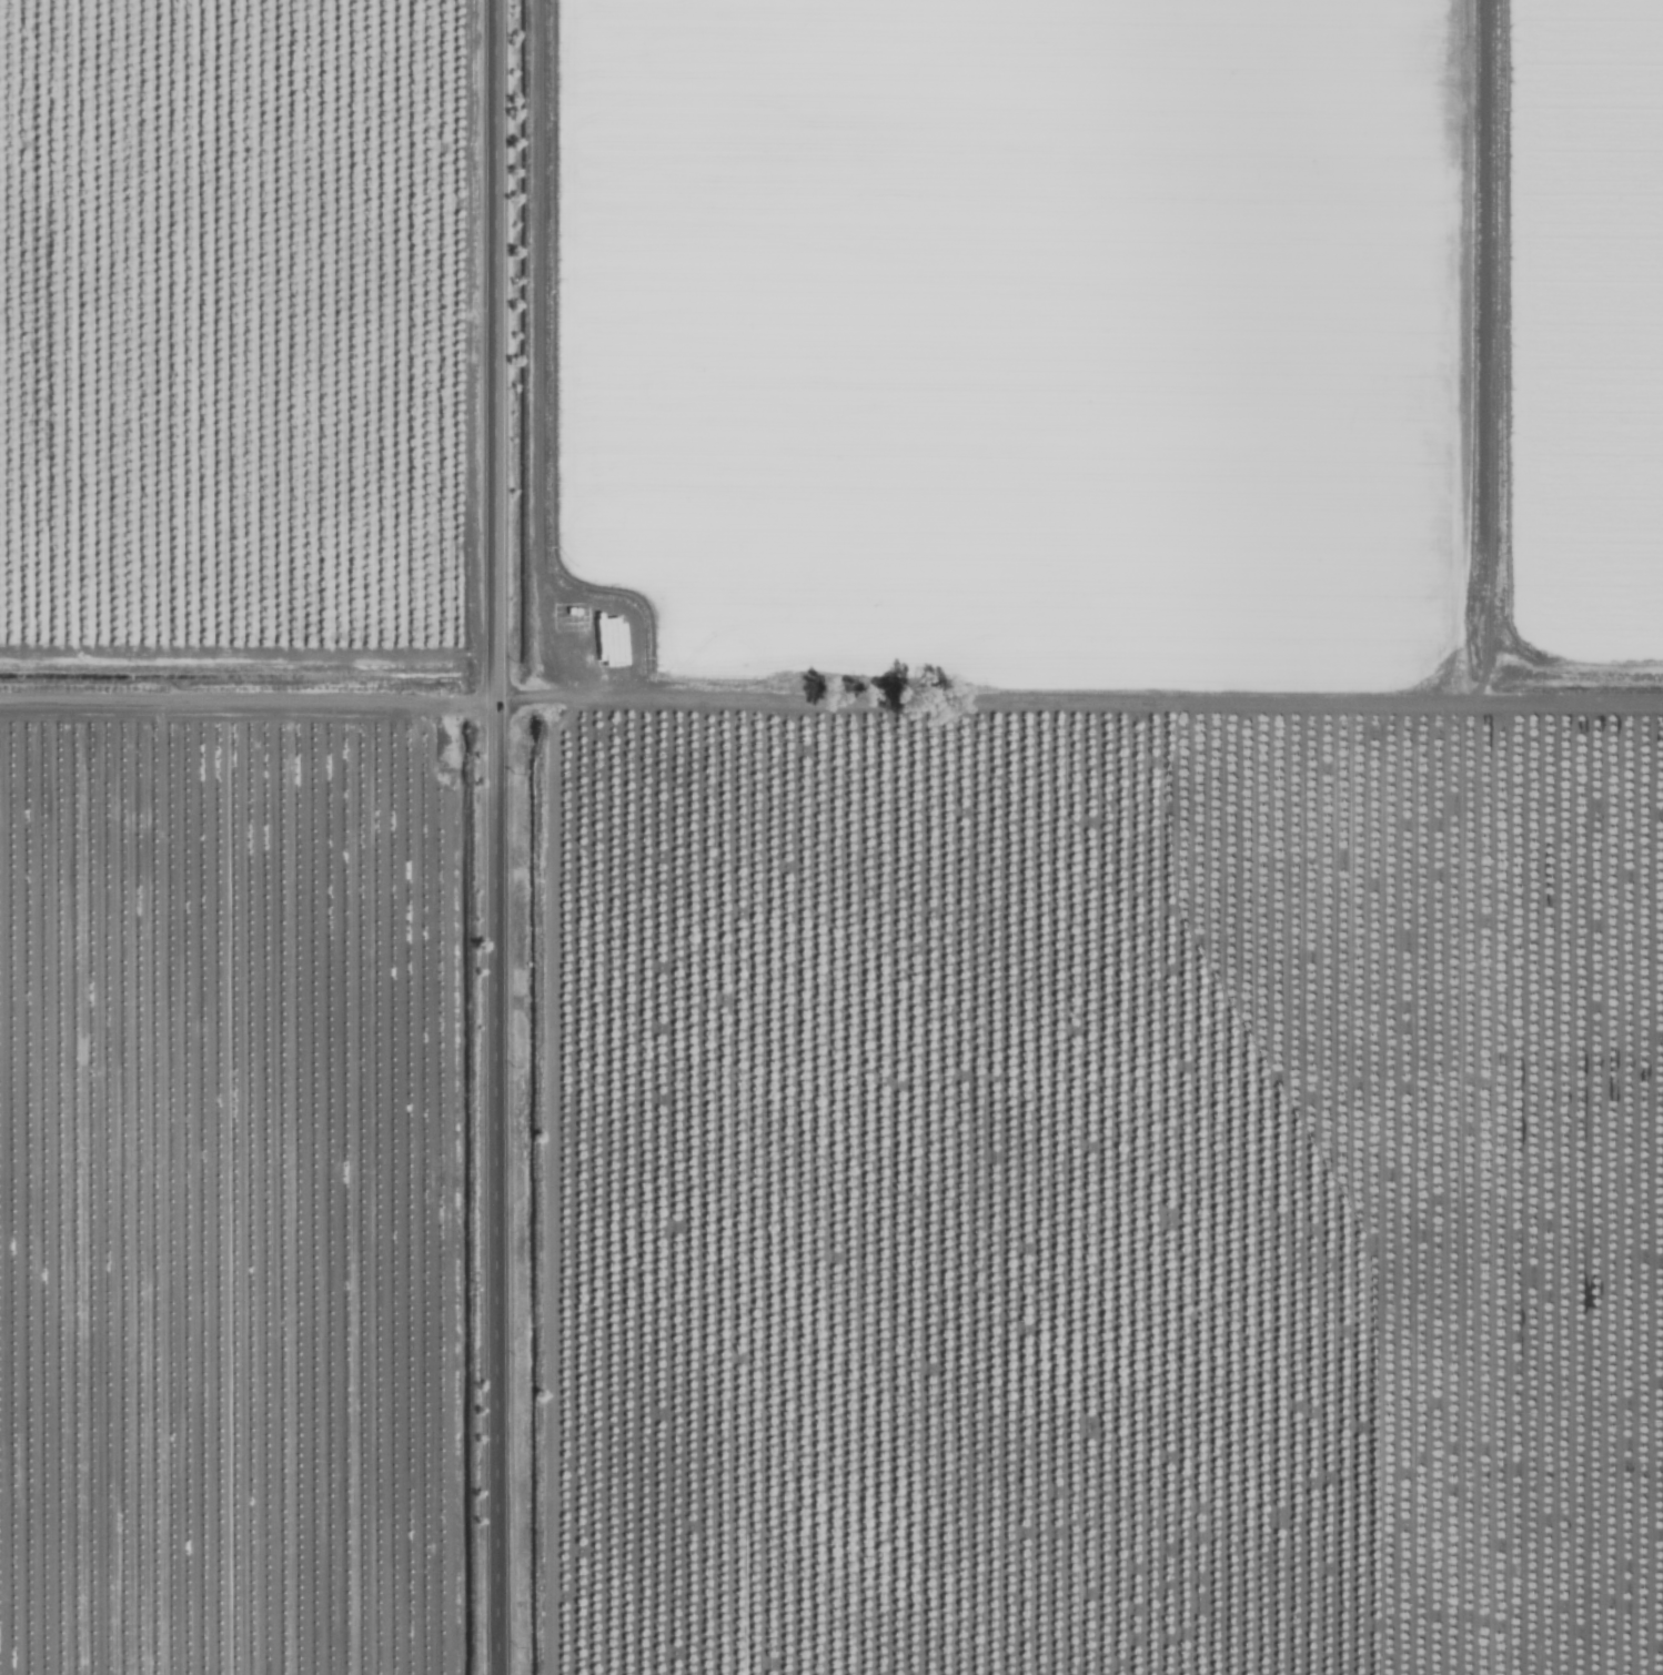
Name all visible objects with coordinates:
road: (271, 700)
road: (496, 837)

